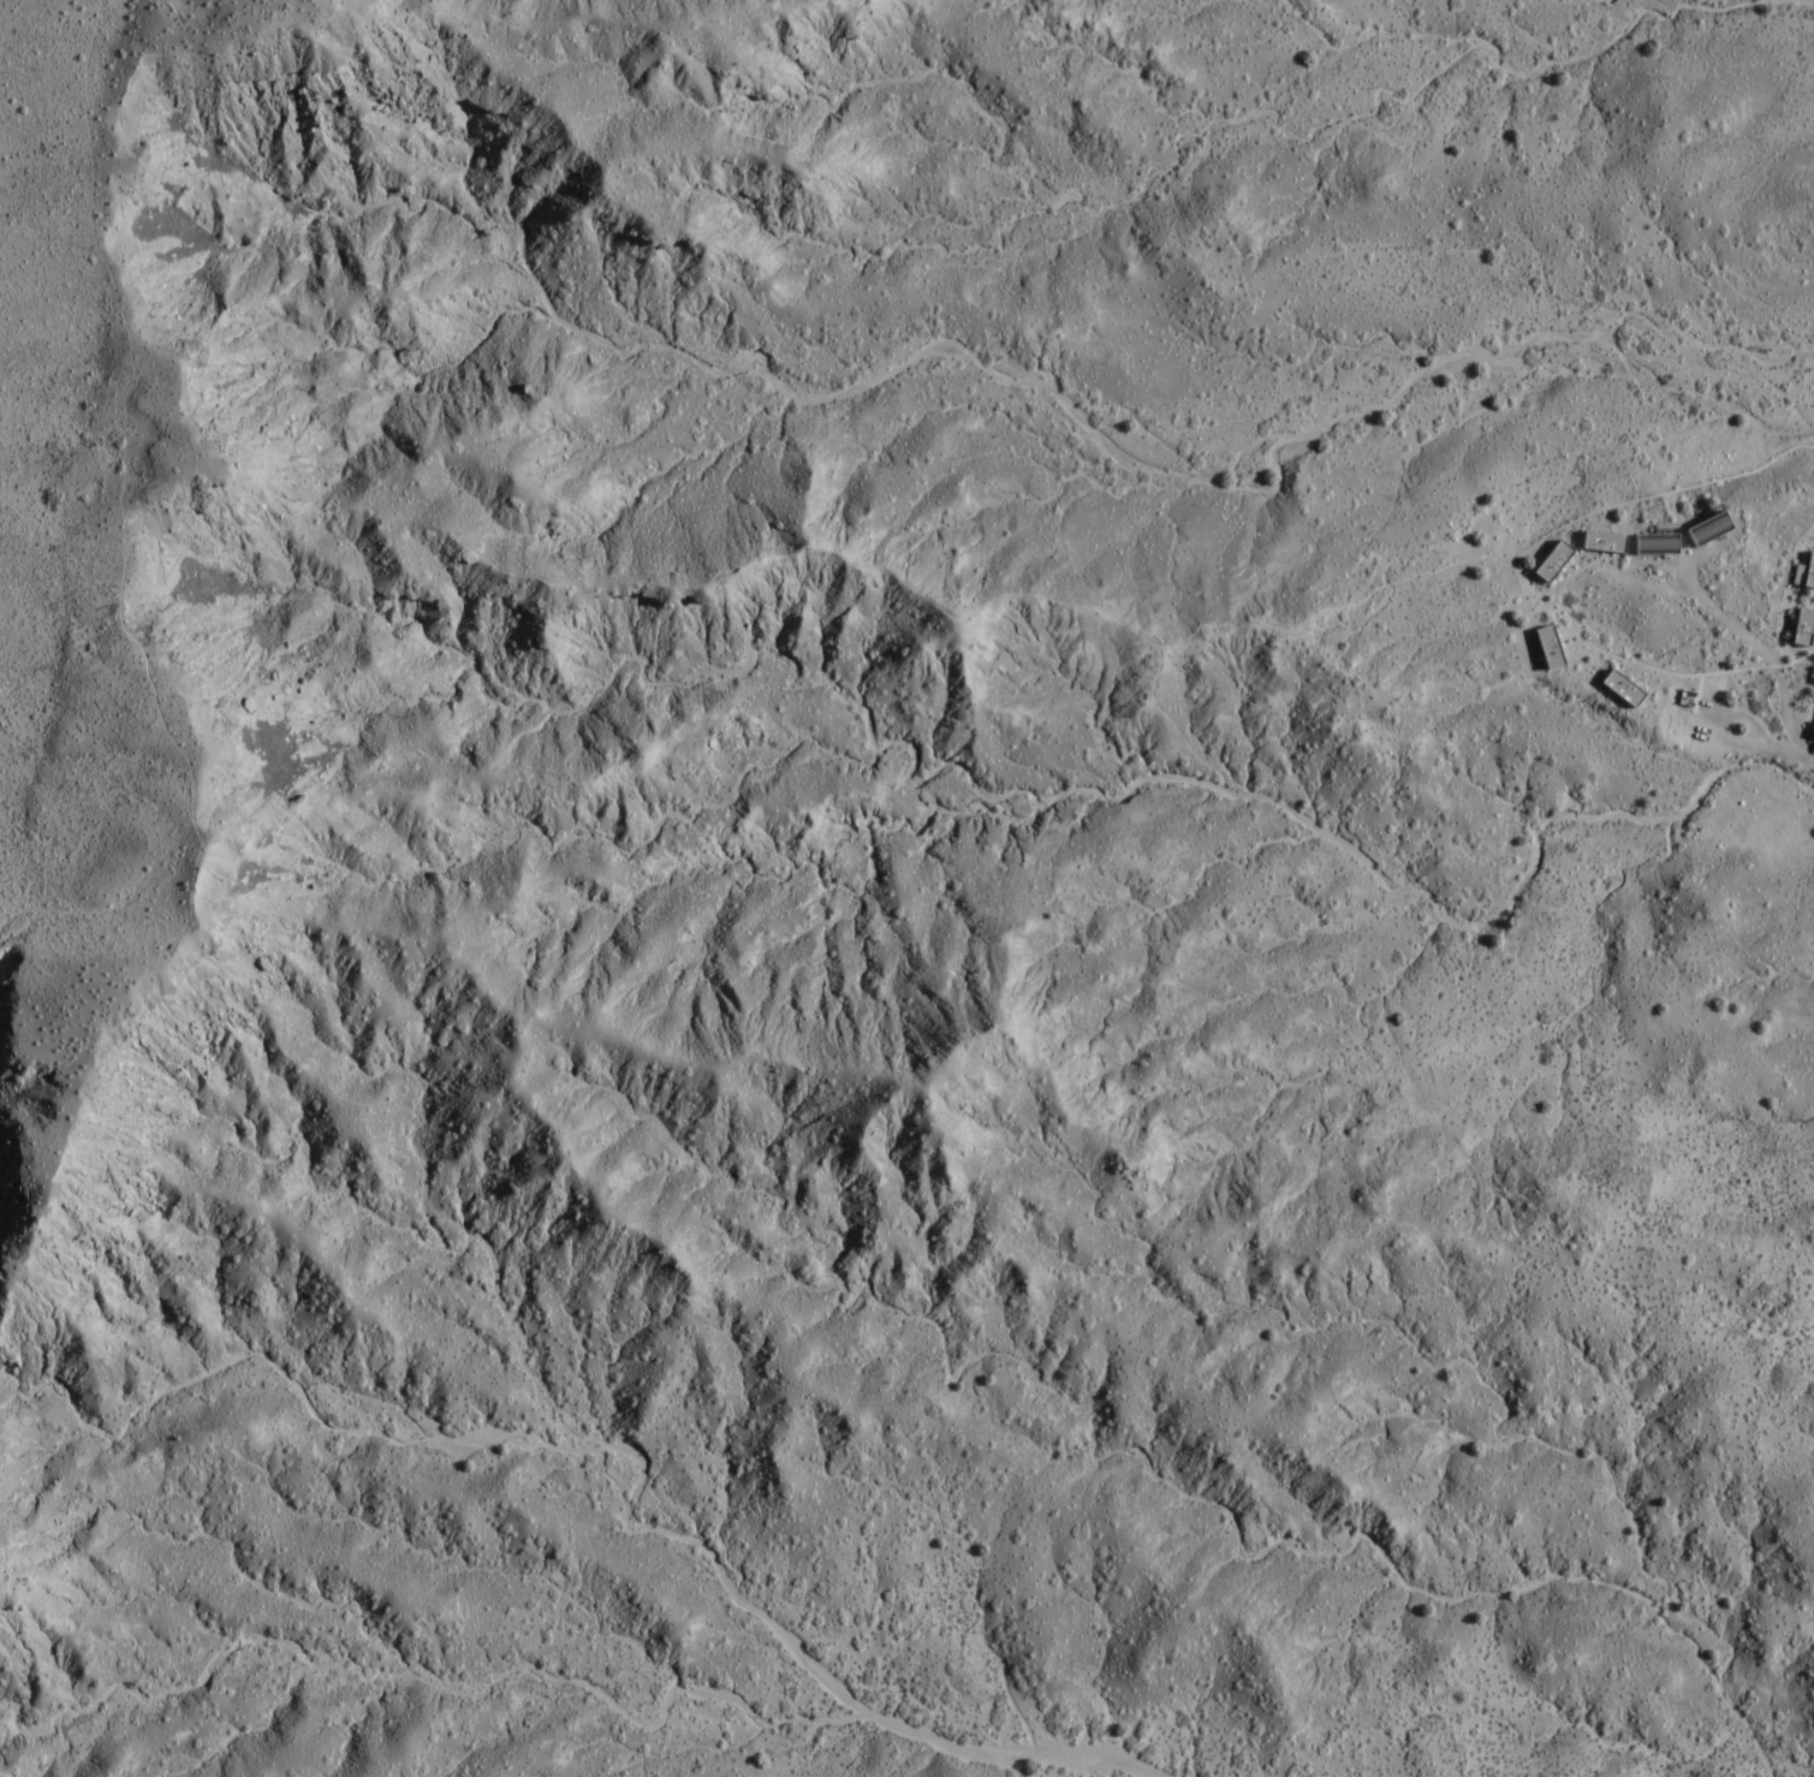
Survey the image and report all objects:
river: (1813, 1)
road: (114, 271)
road: (1013, 303)
road: (1611, 518)
building: (1713, 528)
building: (1606, 540)
road: (1545, 545)
building: (1659, 545)
road: (256, 546)
building: (1554, 560)
road: (1569, 567)
road: (1515, 570)
road: (1571, 572)
building: (1804, 572)
road: (644, 578)
road: (1028, 593)
road: (1334, 606)
road: (1529, 622)
road: (1126, 626)
building: (1804, 626)
road: (1566, 636)
building: (1551, 646)
road: (1813, 650)
road: (1767, 658)
road: (1602, 660)
road: (1637, 672)
road: (1594, 683)
building: (1624, 687)
road: (1700, 693)
road: (1711, 723)
road: (1173, 725)
road: (173, 730)
building: (1812, 733)
road: (1309, 822)
road: (95, 909)
road: (169, 947)
road: (1483, 1214)
river: (828, 1682)

